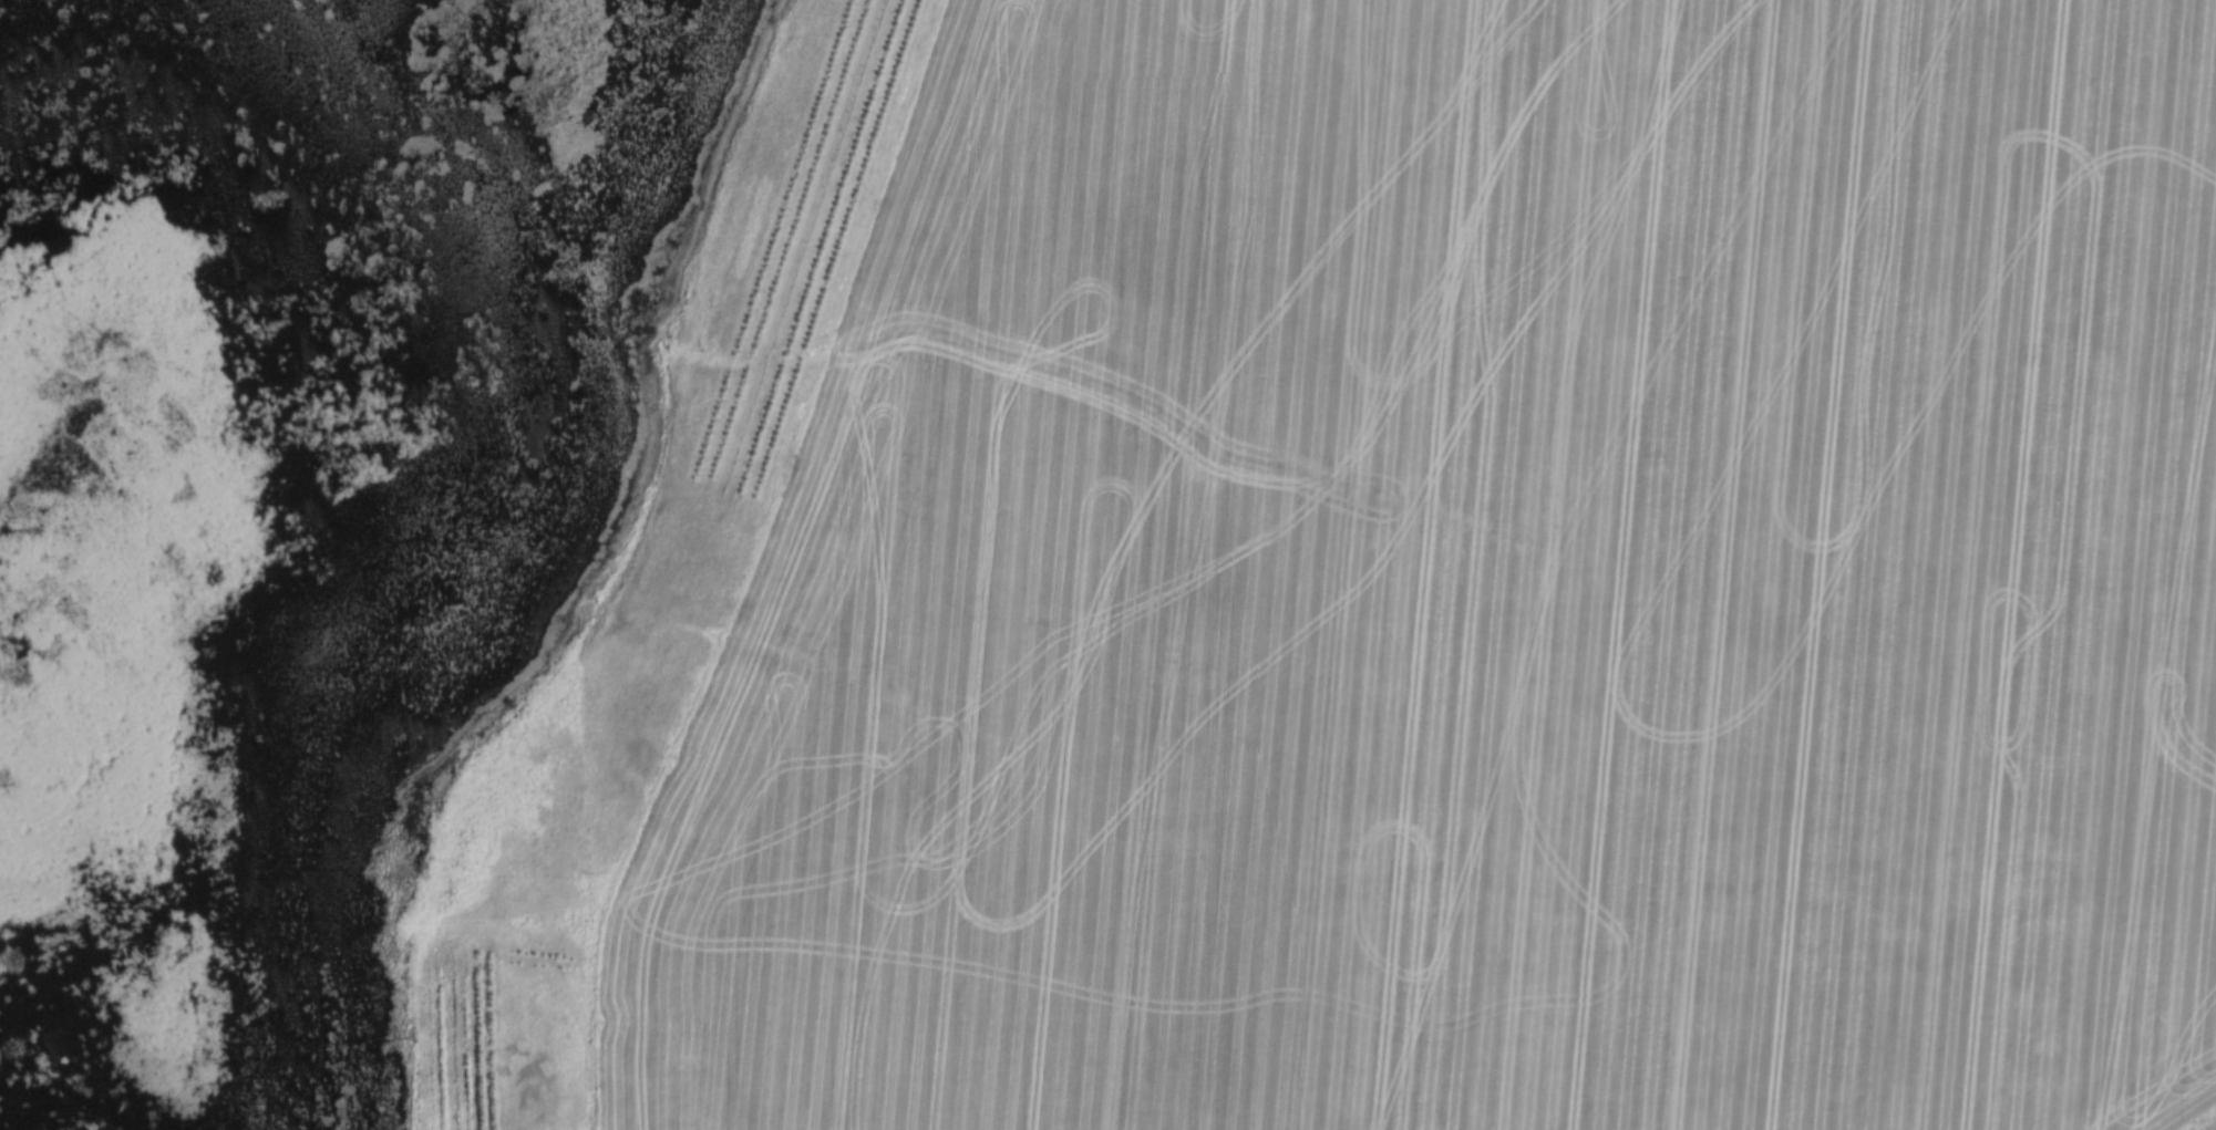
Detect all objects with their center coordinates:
crop: (1490, 591)

